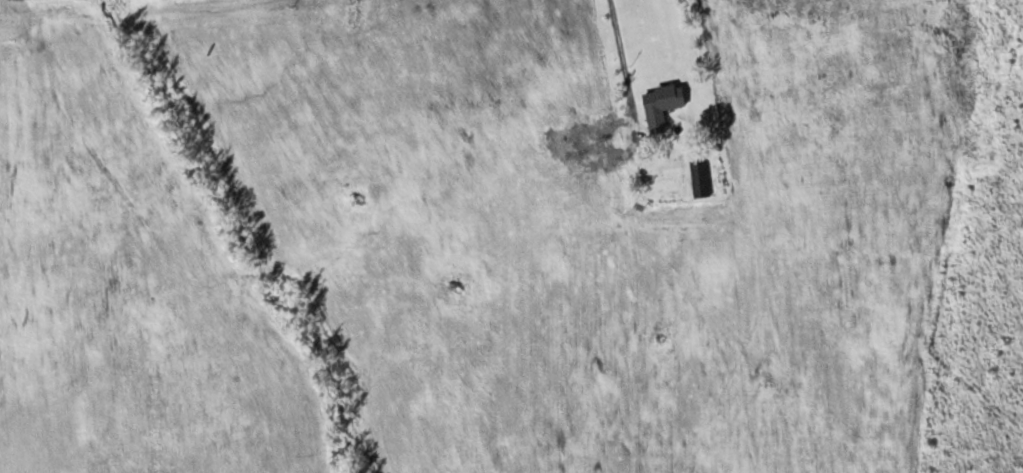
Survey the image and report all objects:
building: (663, 104)
building: (701, 174)

